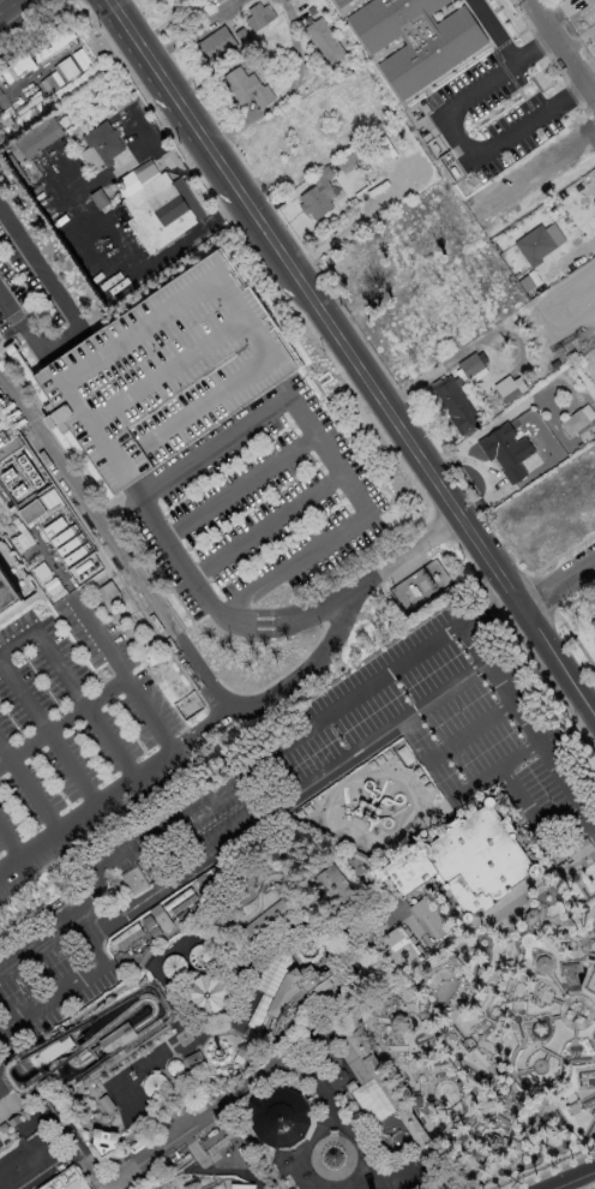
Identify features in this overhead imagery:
building: (176, 0)
building: (338, 2)
road: (14, 11)
building: (588, 11)
building: (257, 14)
road: (193, 30)
building: (594, 38)
building: (321, 40)
building: (414, 40)
building: (215, 42)
road: (505, 49)
road: (561, 49)
building: (244, 86)
road: (288, 90)
parking lot: (494, 114)
building: (35, 137)
building: (101, 142)
road: (468, 156)
road: (131, 157)
road: (542, 167)
building: (315, 193)
building: (593, 201)
building: (152, 205)
building: (533, 244)
road: (126, 276)
road: (49, 288)
road: (313, 303)
road: (242, 322)
road: (23, 324)
road: (474, 345)
road: (172, 363)
building: (471, 366)
road: (493, 374)
building: (166, 378)
parking lot: (166, 378)
building: (505, 389)
road: (576, 399)
building: (455, 405)
building: (572, 423)
road: (491, 425)
road: (554, 429)
building: (579, 446)
building: (504, 450)
road: (326, 453)
road: (485, 470)
road: (241, 484)
parking lot: (262, 507)
building: (34, 519)
road: (268, 522)
road: (112, 551)
road: (557, 582)
building: (419, 585)
street lamp: (569, 596)
road: (275, 621)
road: (561, 621)
building: (593, 622)
building: (594, 633)
road: (17, 640)
road: (593, 640)
road: (471, 644)
road: (557, 662)
road: (114, 669)
road: (101, 691)
road: (282, 692)
road: (83, 704)
building: (187, 705)
road: (470, 729)
road: (41, 730)
road: (48, 735)
road: (368, 742)
parking lot: (76, 743)
road: (286, 743)
road: (517, 753)
road: (474, 783)
road: (29, 791)
road: (524, 807)
road: (83, 815)
road: (572, 834)
parking lot: (176, 841)
road: (12, 843)
railway: (257, 846)
building: (579, 852)
building: (468, 866)
building: (132, 883)
road: (100, 888)
building: (330, 889)
building: (176, 898)
road: (509, 901)
building: (182, 904)
building: (187, 910)
building: (160, 916)
railway: (338, 916)
road: (408, 919)
building: (431, 919)
road: (91, 921)
building: (264, 921)
building: (150, 926)
building: (126, 936)
road: (43, 942)
road: (268, 948)
theme park: (329, 950)
building: (399, 950)
road: (112, 966)
building: (362, 972)
road: (178, 980)
building: (268, 985)
railway: (283, 985)
building: (297, 986)
road: (65, 987)
road: (238, 1032)
fountain: (311, 1032)
railway: (47, 1045)
building: (48, 1047)
road: (12, 1053)
building: (330, 1059)
building: (193, 1060)
railway: (246, 1062)
road: (277, 1070)
building: (337, 1076)
road: (12, 1079)
road: (5, 1082)
railway: (216, 1082)
building: (383, 1088)
building: (245, 1097)
railway: (392, 1098)
railway: (64, 1100)
building: (106, 1103)
road: (8, 1104)
road: (4, 1115)
building: (277, 1117)
building: (12, 1119)
road: (12, 1121)
road: (332, 1130)
road: (65, 1134)
railway: (103, 1136)
building: (102, 1143)
building: (43, 1145)
road: (215, 1163)
building: (12, 1171)
railway: (441, 1175)
road: (392, 1178)
road: (570, 1178)
building: (64, 1179)
road: (292, 1184)
building: (241, 1185)

